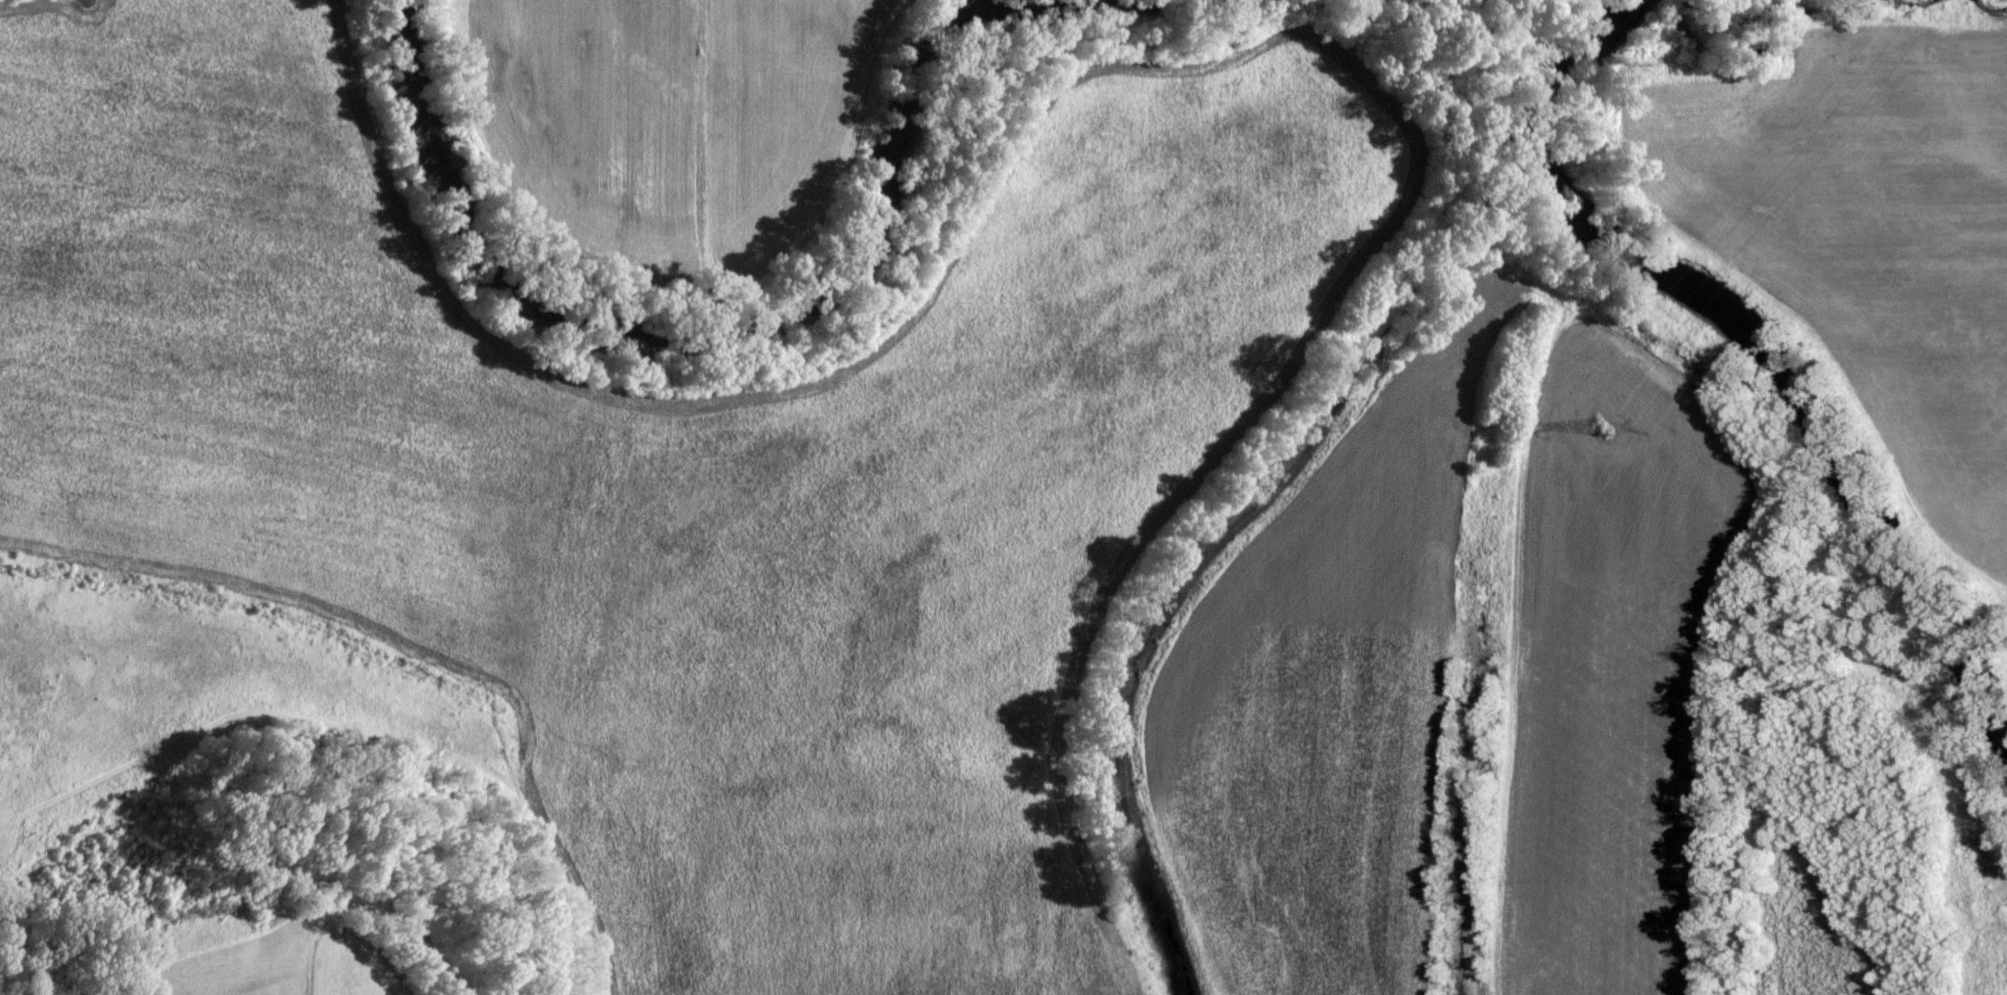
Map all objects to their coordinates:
river: (684, 328)
river: (1758, 332)
power tower: (1603, 428)

